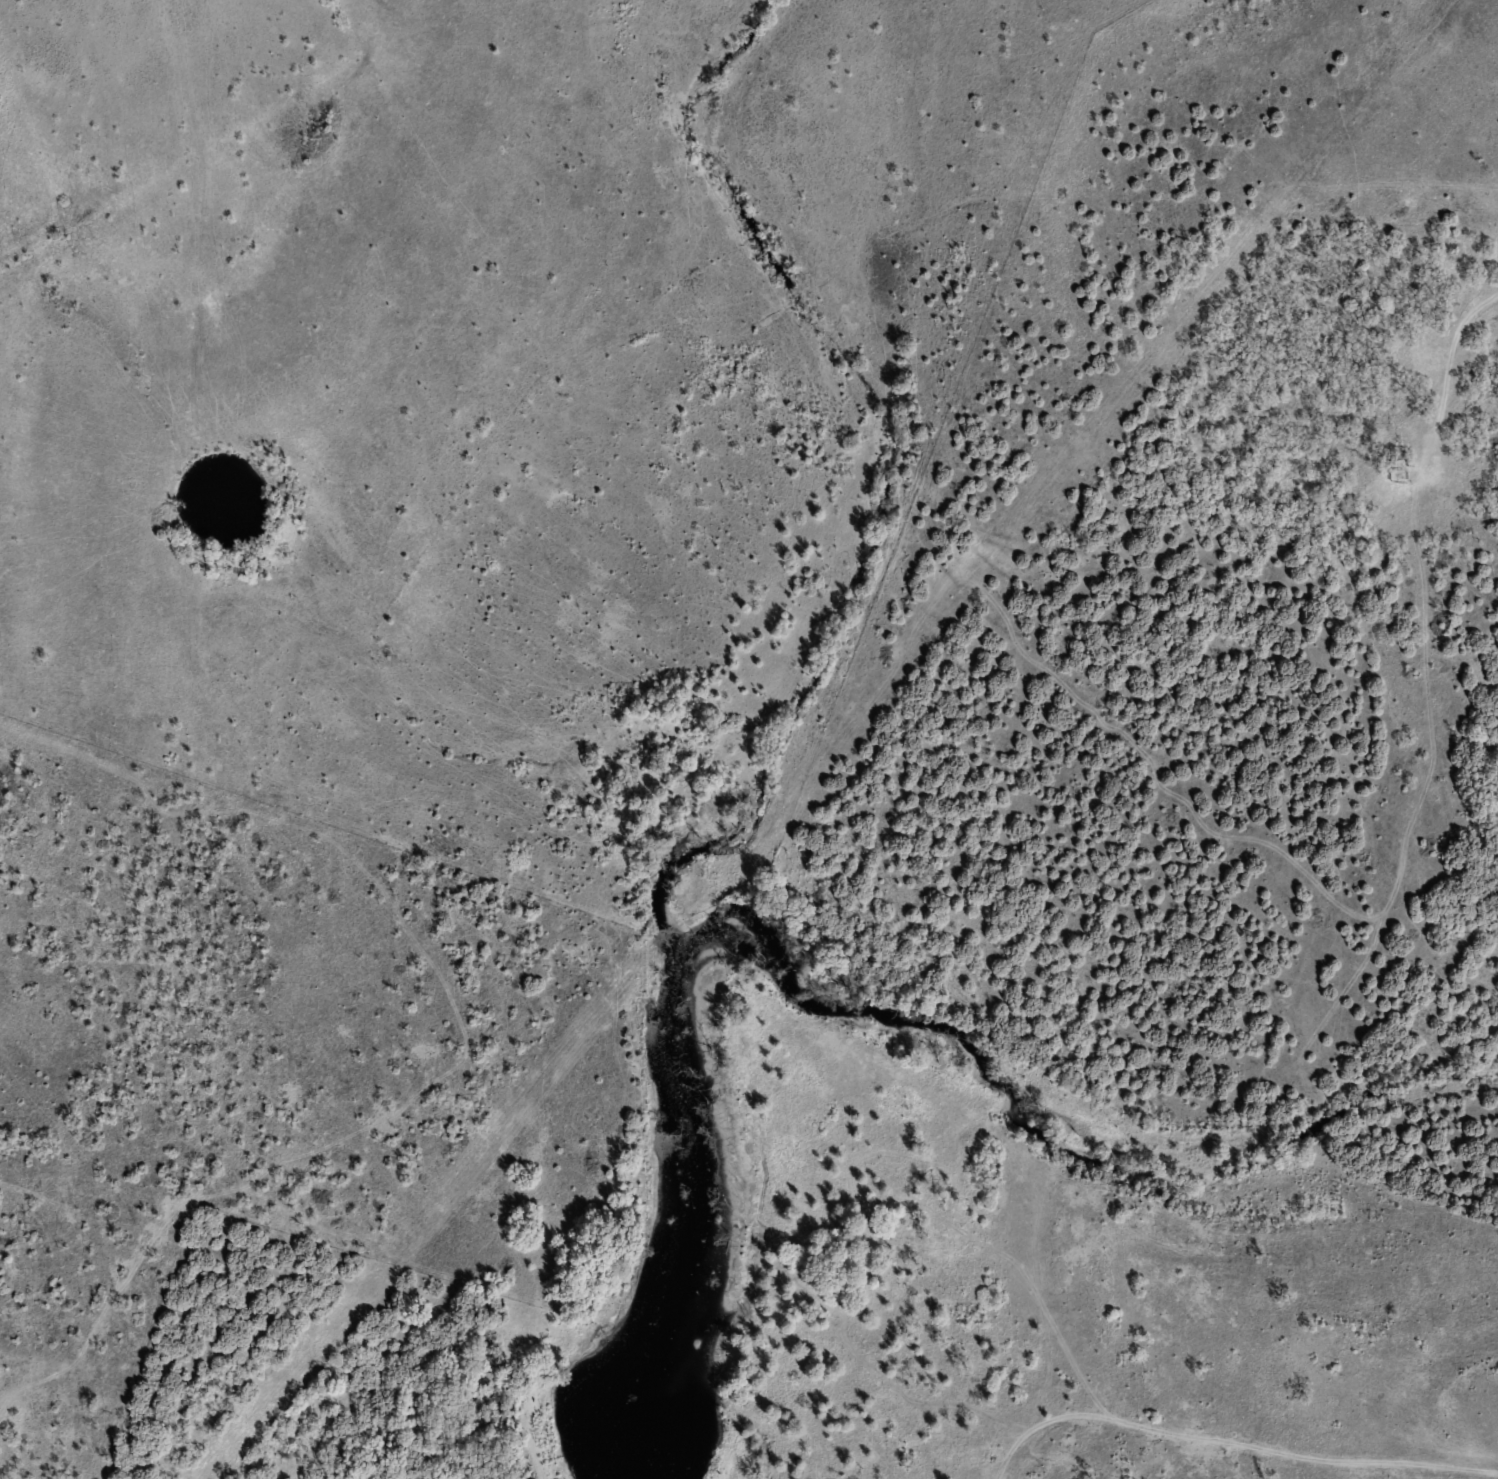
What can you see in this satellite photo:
road: (1456, 293)
building: (1400, 461)

